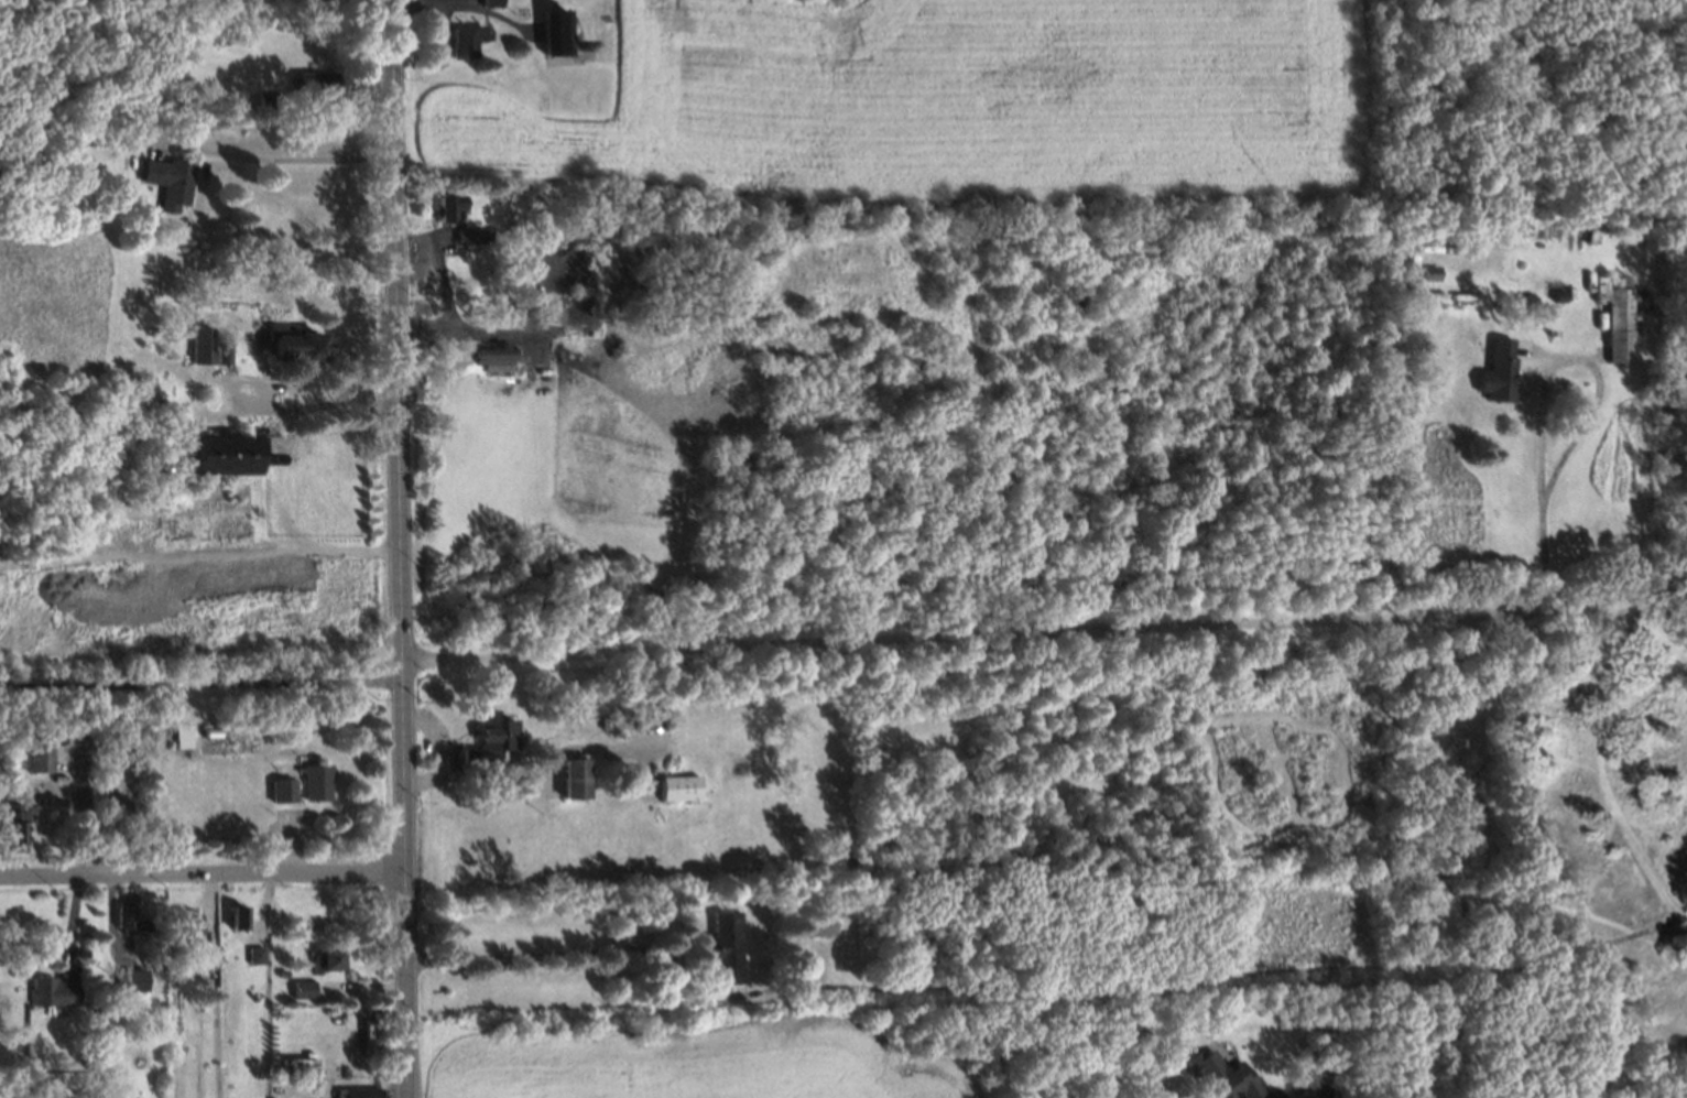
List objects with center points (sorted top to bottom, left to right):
building: (487, 2)
building: (551, 31)
building: (461, 39)
building: (306, 83)
building: (263, 101)
building: (11, 135)
road: (242, 156)
building: (164, 177)
building: (444, 205)
building: (631, 224)
building: (467, 235)
building: (1555, 296)
building: (1611, 317)
building: (293, 339)
building: (197, 347)
building: (219, 354)
building: (492, 358)
building: (1493, 371)
road: (1539, 394)
road: (286, 411)
building: (215, 454)
building: (150, 466)
road: (400, 548)
road: (199, 553)
building: (143, 599)
road: (1609, 610)
road: (967, 638)
road: (200, 683)
building: (600, 718)
building: (255, 720)
building: (178, 736)
building: (482, 742)
building: (124, 743)
building: (39, 759)
building: (566, 776)
building: (123, 779)
building: (311, 780)
building: (284, 784)
building: (8, 785)
building: (672, 786)
building: (106, 803)
building: (8, 826)
road: (202, 874)
building: (122, 917)
building: (232, 917)
building: (179, 924)
building: (806, 924)
building: (717, 945)
building: (250, 954)
building: (322, 958)
building: (199, 960)
building: (277, 970)
building: (129, 976)
building: (295, 990)
building: (45, 991)
road: (682, 998)
building: (1218, 1074)
building: (349, 1091)

